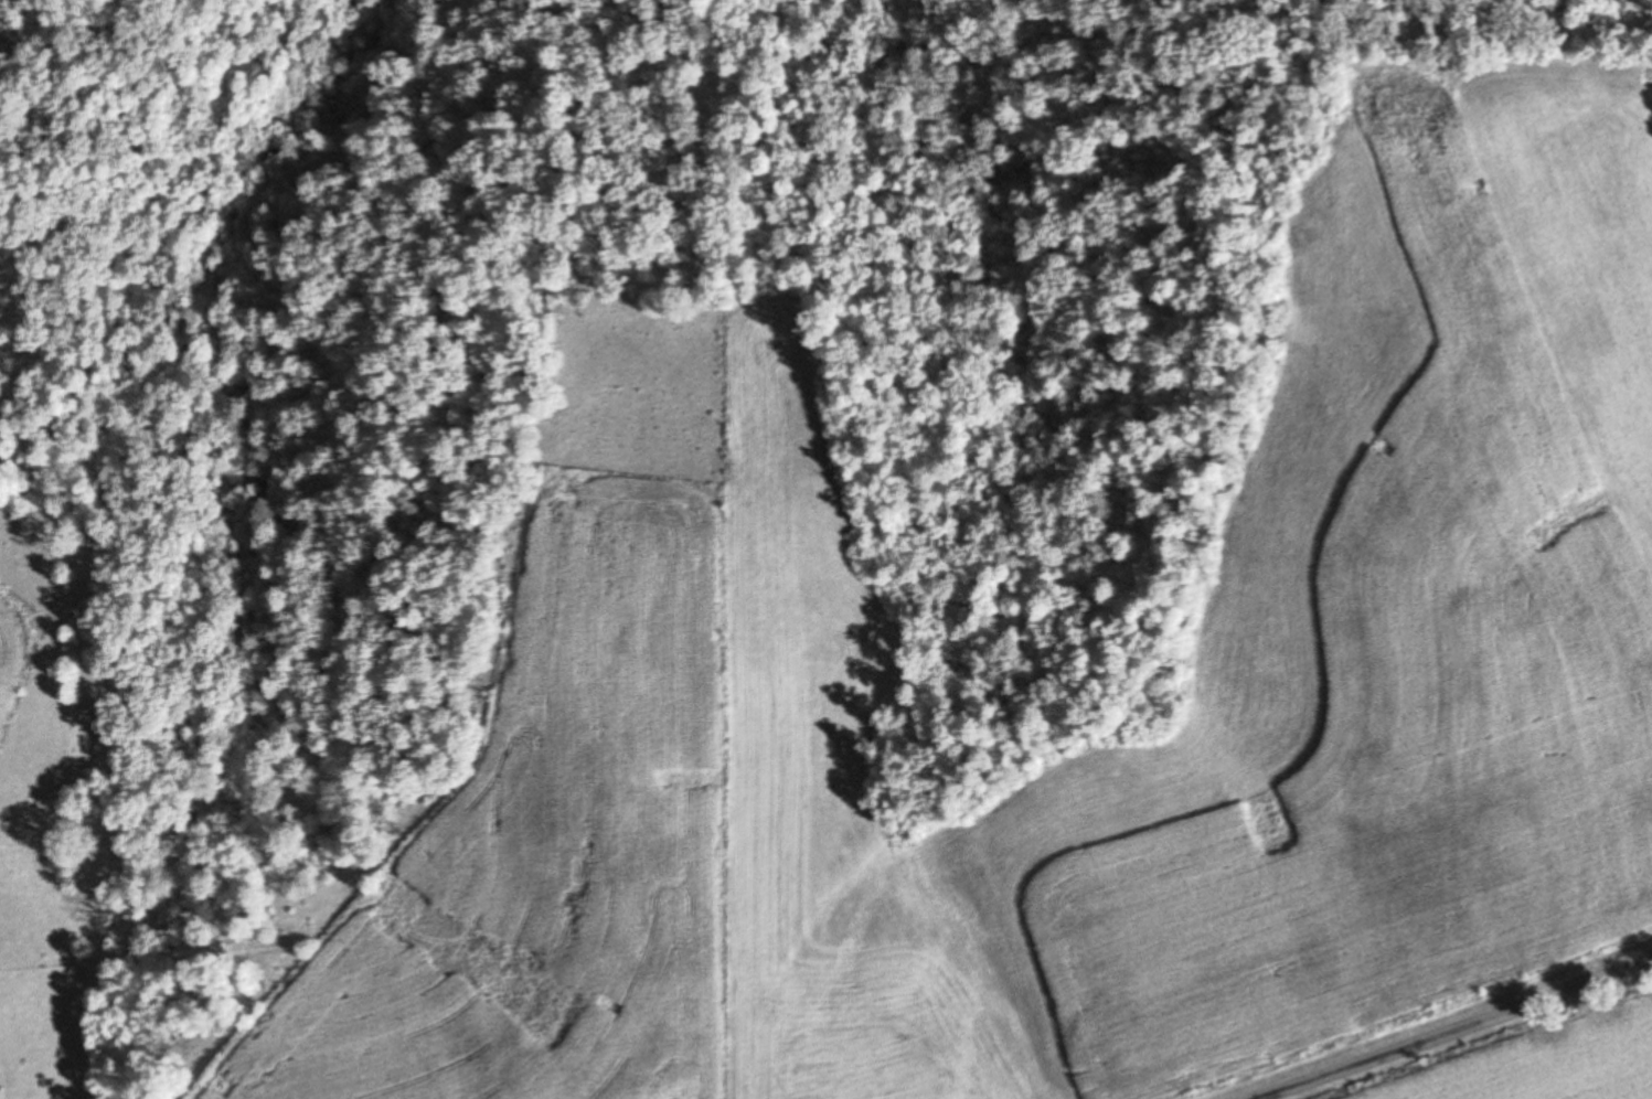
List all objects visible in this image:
road: (1447, 1031)

